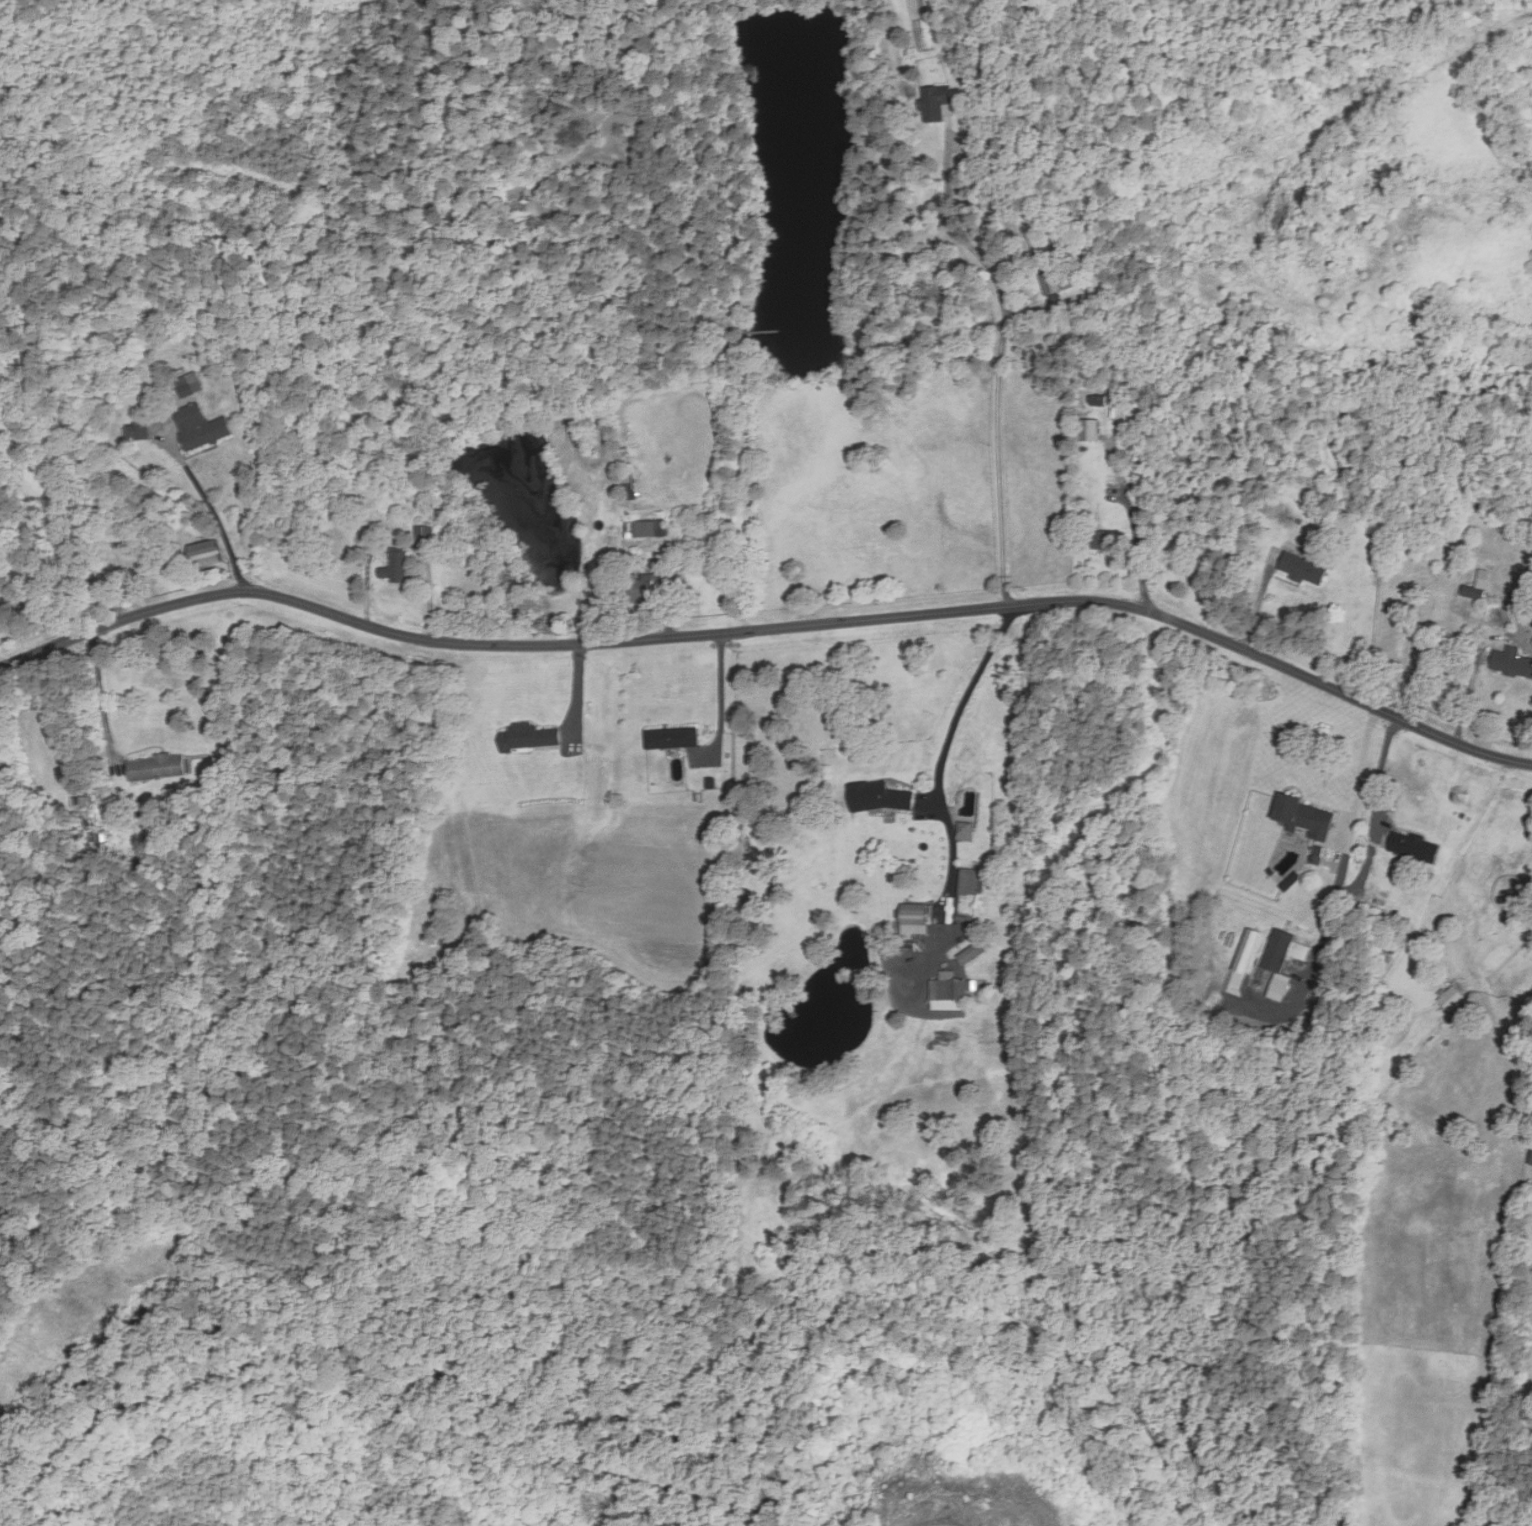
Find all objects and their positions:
building: (938, 102)
building: (1055, 282)
road: (1001, 369)
building: (188, 386)
building: (199, 426)
building: (1091, 430)
building: (137, 431)
road: (213, 514)
building: (646, 523)
building: (424, 535)
building: (1101, 538)
road: (406, 544)
road: (1138, 551)
building: (204, 553)
building: (396, 567)
building: (1302, 568)
building: (653, 577)
building: (1476, 586)
road: (1008, 621)
road: (771, 629)
building: (1512, 662)
road: (102, 692)
road: (721, 692)
building: (529, 736)
building: (671, 736)
road: (1363, 758)
road: (1381, 763)
building: (155, 766)
road: (939, 768)
building: (876, 796)
building: (1302, 815)
building: (963, 831)
building: (1413, 846)
building: (1319, 855)
building: (967, 876)
building: (914, 920)
building: (1282, 950)
building: (969, 953)
building: (947, 989)
building: (1450, 998)
building: (1531, 1159)

